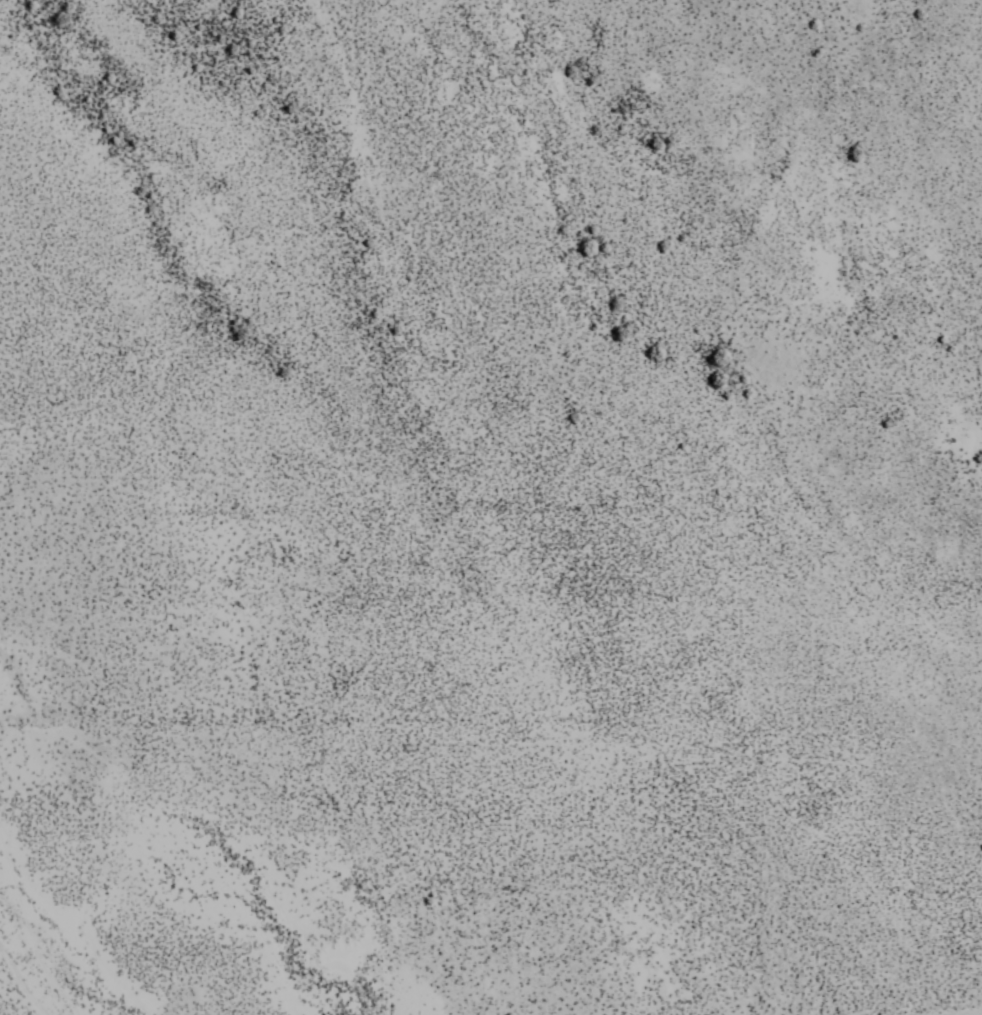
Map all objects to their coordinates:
road: (963, 1012)

